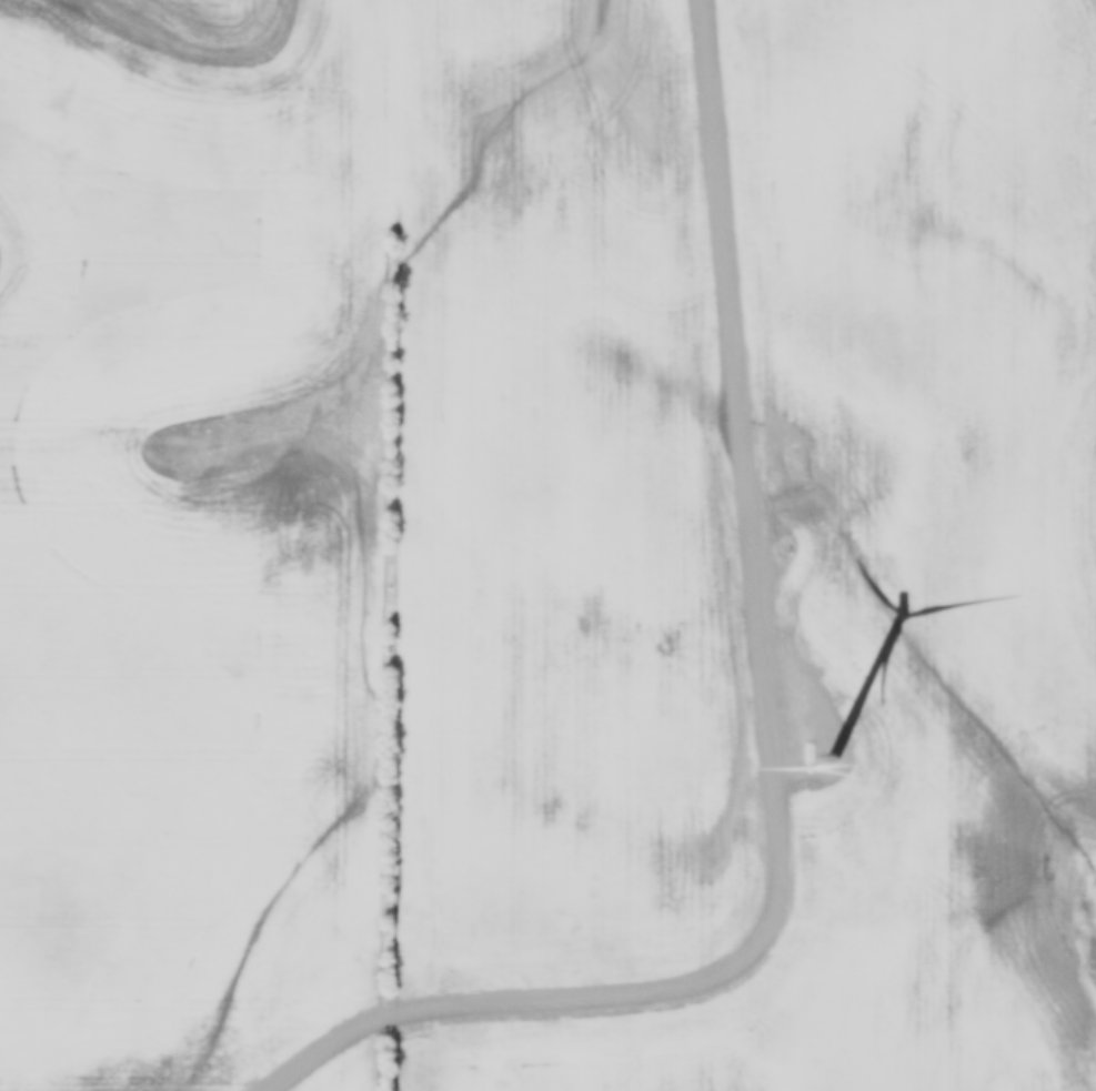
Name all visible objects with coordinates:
wind turbine: (824, 759)

